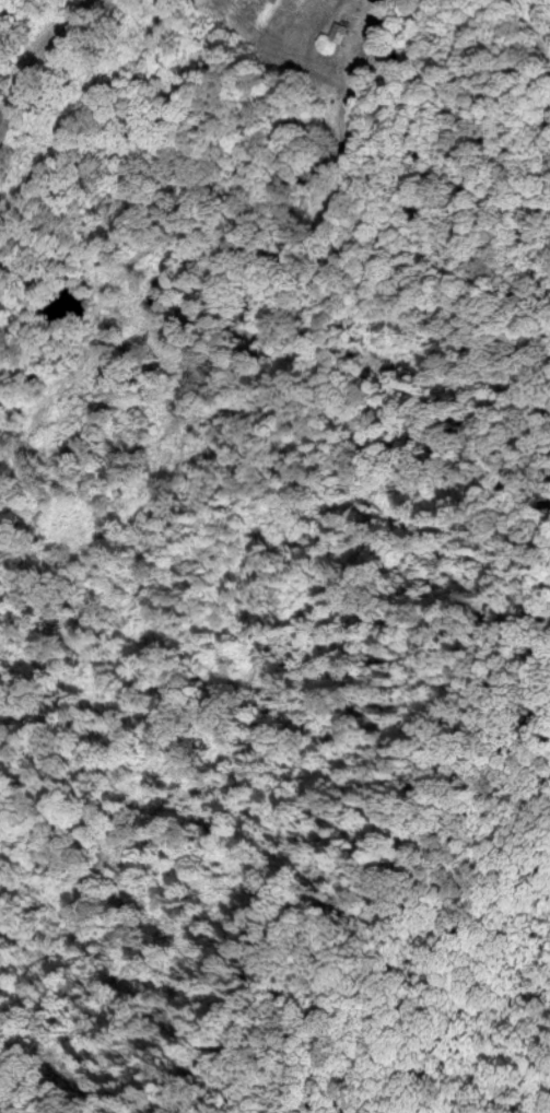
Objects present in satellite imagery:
building: (337, 32)
road: (34, 61)

